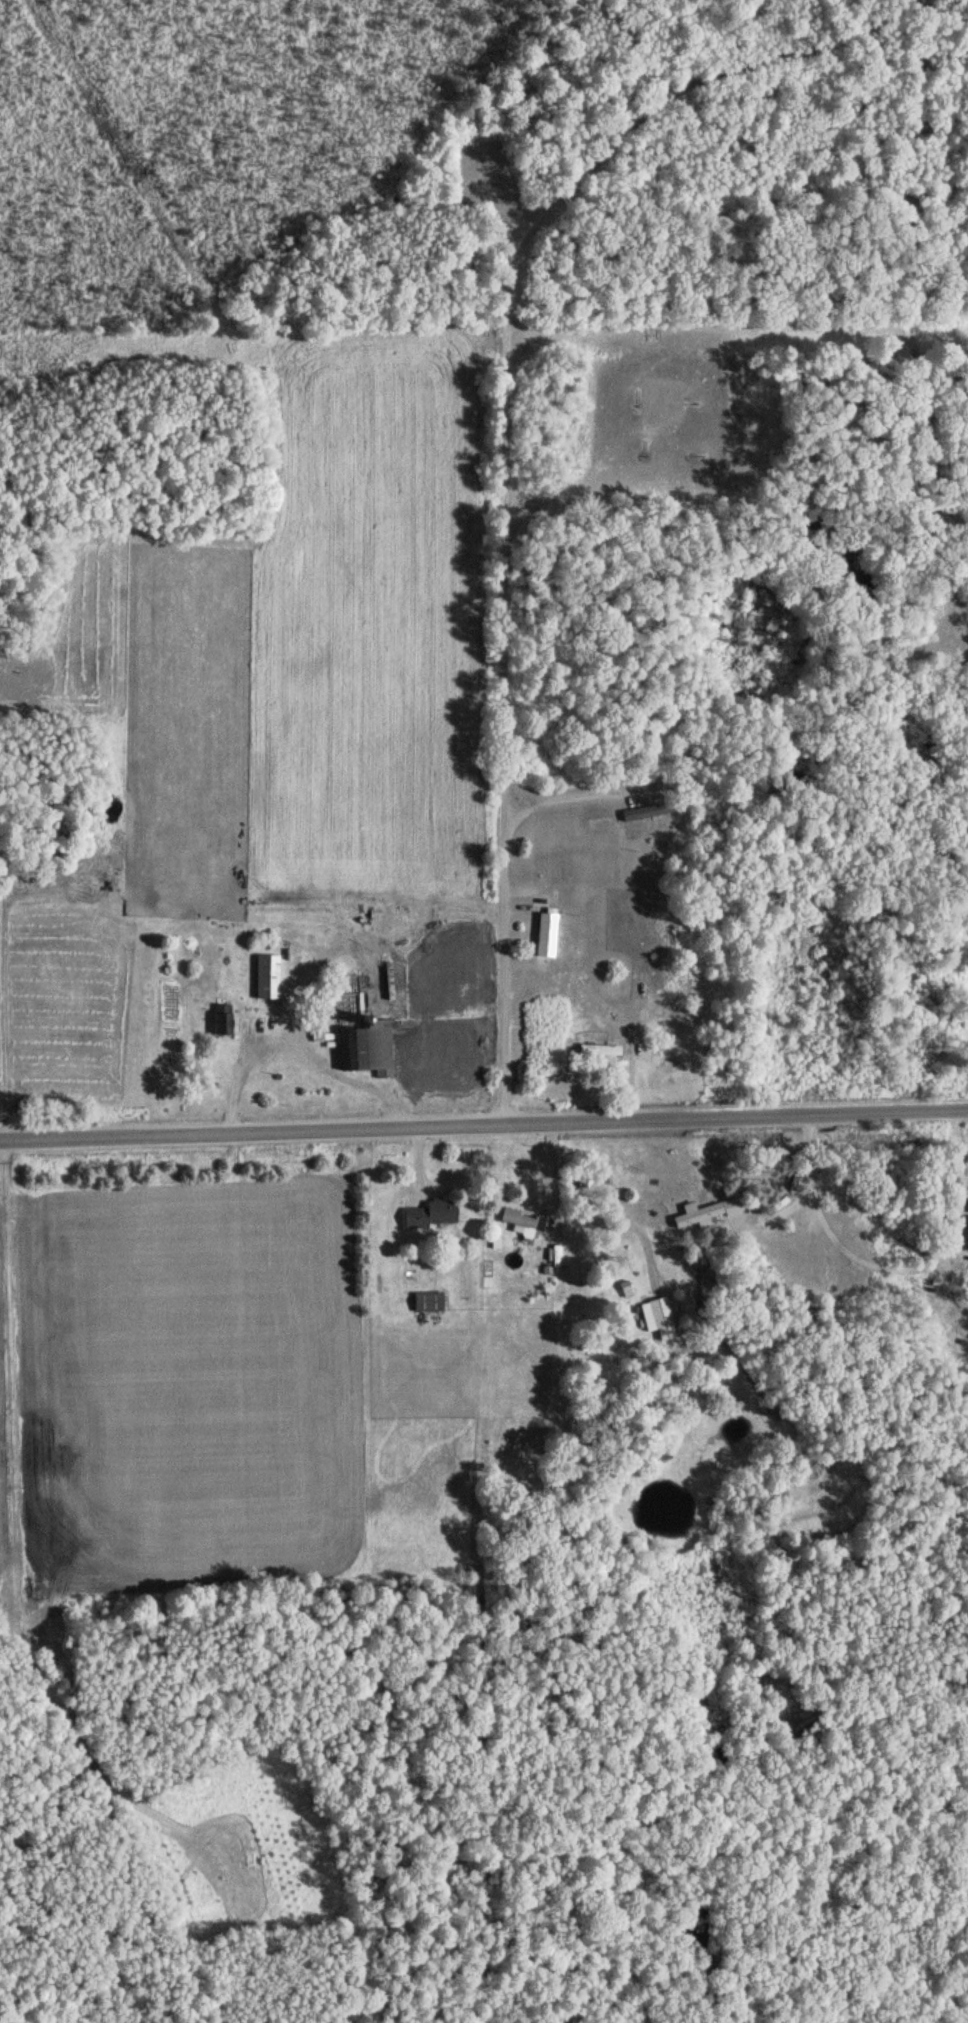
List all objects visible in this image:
road: (500, 452)
building: (642, 813)
building: (543, 936)
building: (264, 979)
building: (219, 1021)
building: (367, 1049)
building: (596, 1052)
road: (483, 1123)
building: (429, 1215)
building: (694, 1217)
building: (520, 1221)
building: (967, 1234)
building: (425, 1302)
building: (654, 1318)
road: (2, 1486)

